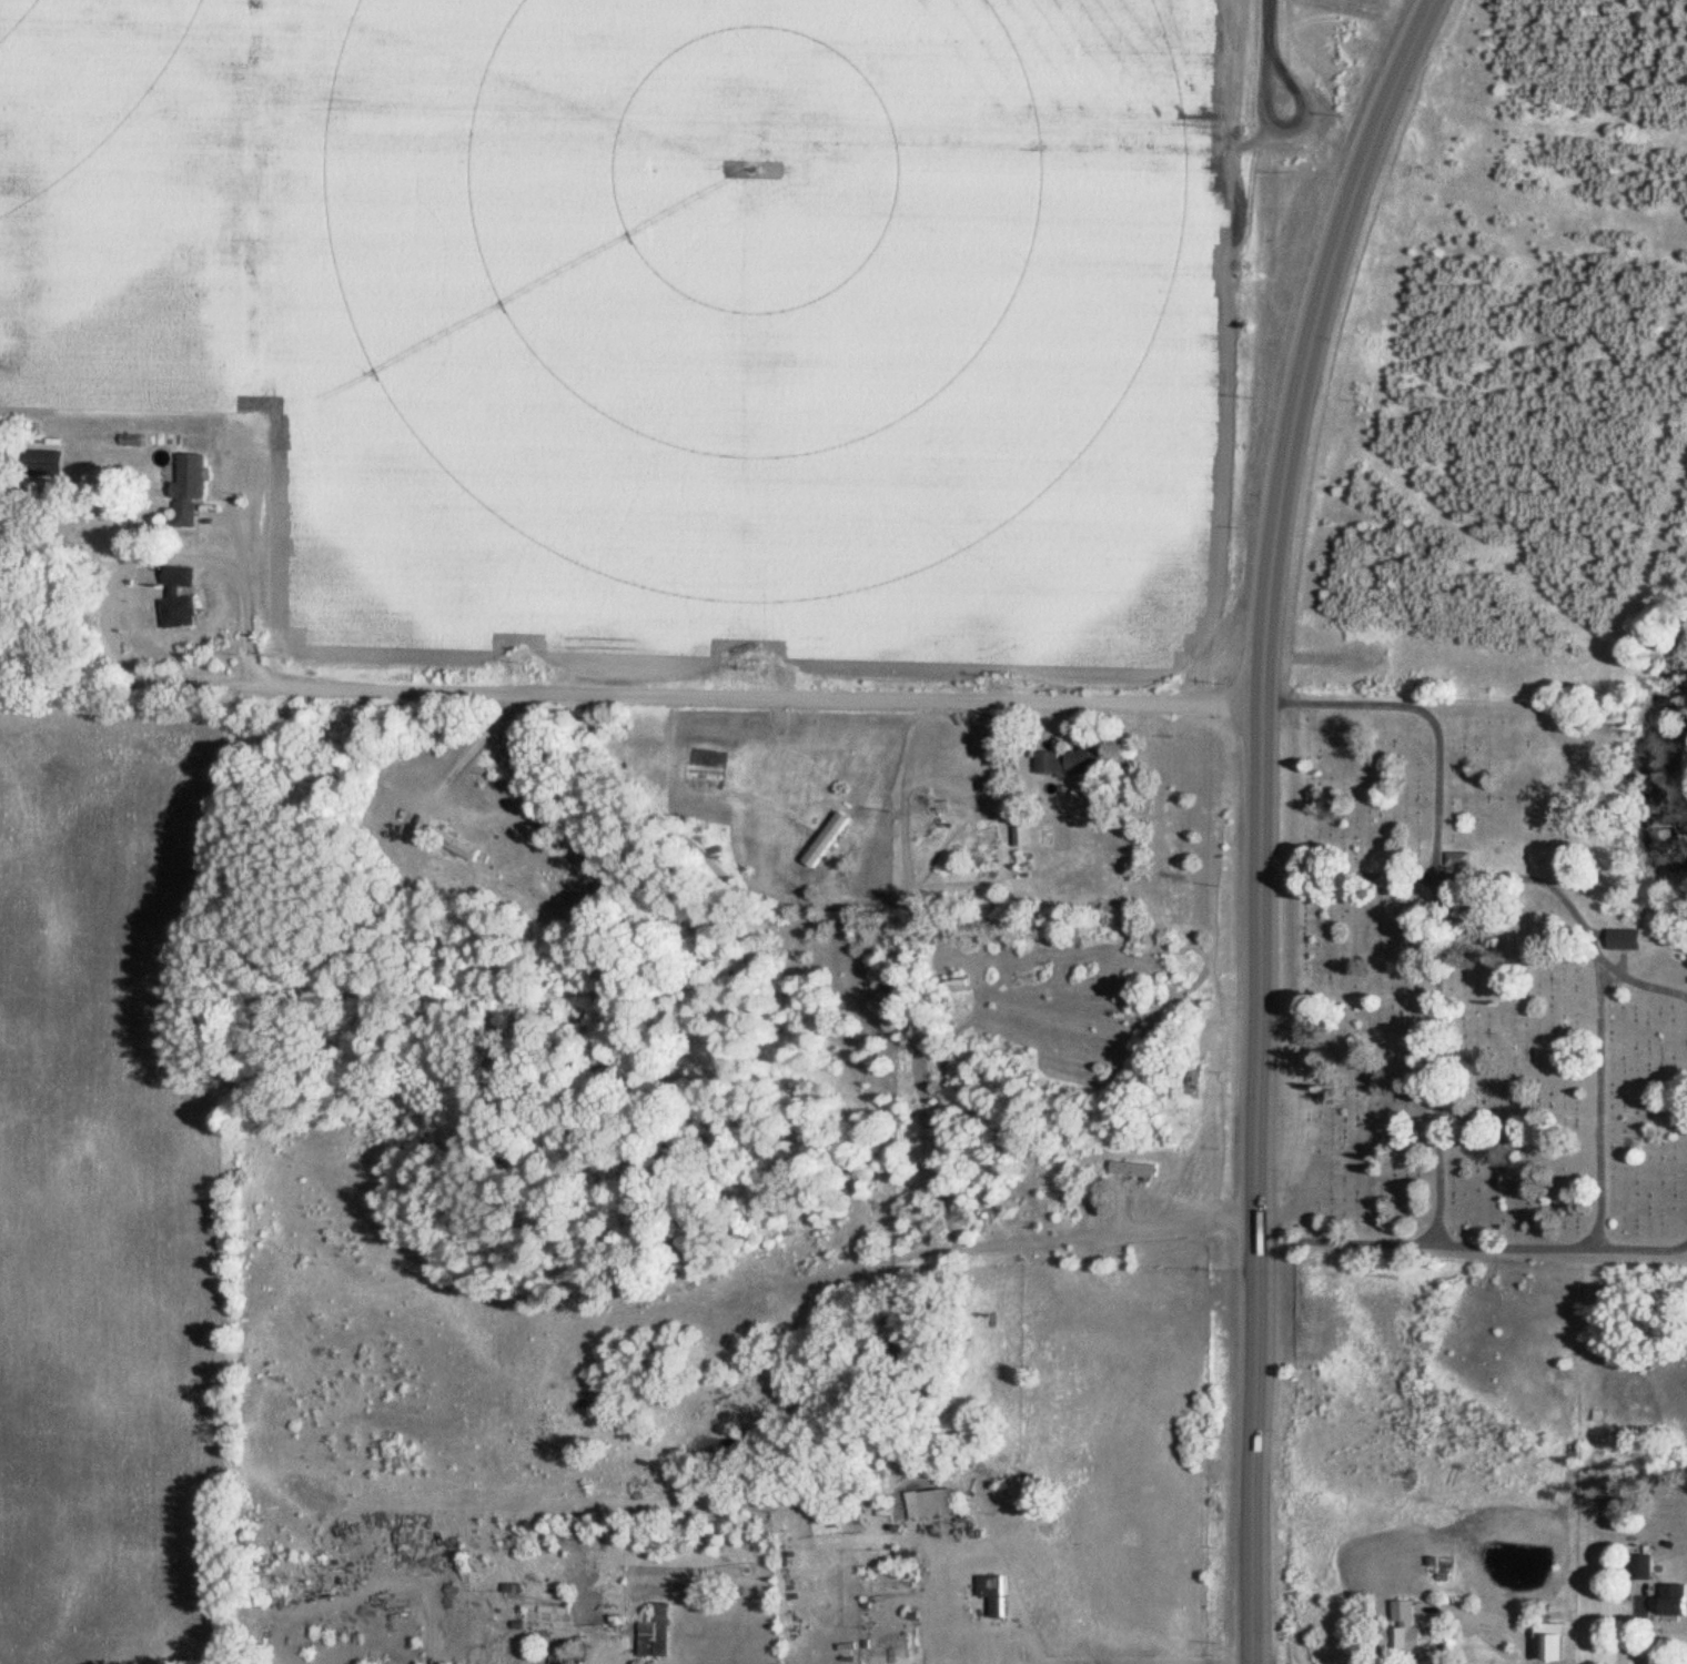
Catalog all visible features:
road: (1095, 144)
building: (192, 490)
building: (184, 598)
road: (674, 693)
road: (469, 750)
building: (1071, 763)
road: (1260, 818)
building: (467, 850)
building: (1628, 939)
park: (1476, 991)
road: (1442, 1049)
building: (1194, 1079)
building: (1137, 1168)
road: (1586, 1197)
road: (1624, 1247)
building: (935, 1503)
building: (1645, 1566)
building: (994, 1597)
building: (1677, 1600)
road: (928, 1604)
road: (1492, 1618)
building: (1406, 1625)
building: (659, 1636)
building: (1553, 1642)

